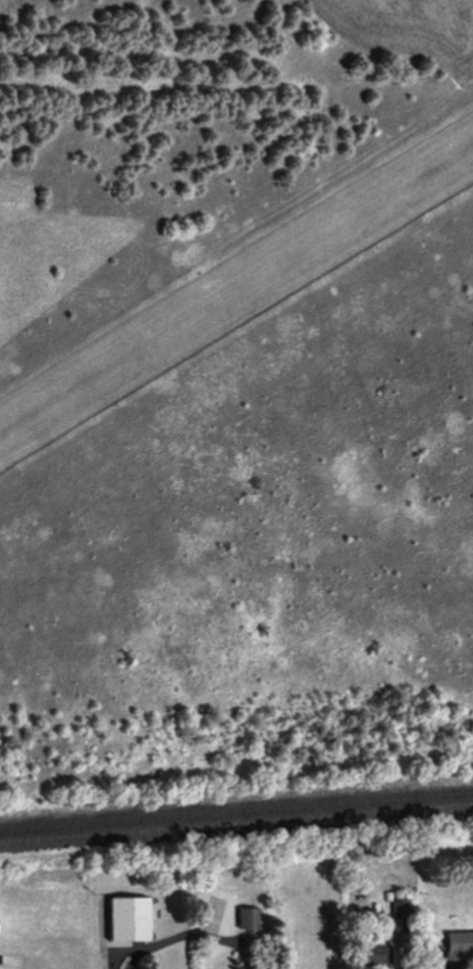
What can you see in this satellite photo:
airport runway: (236, 296)
airport: (253, 440)
railway: (236, 812)
railway: (236, 822)
building: (128, 918)
building: (248, 920)
building: (459, 943)
building: (376, 953)

